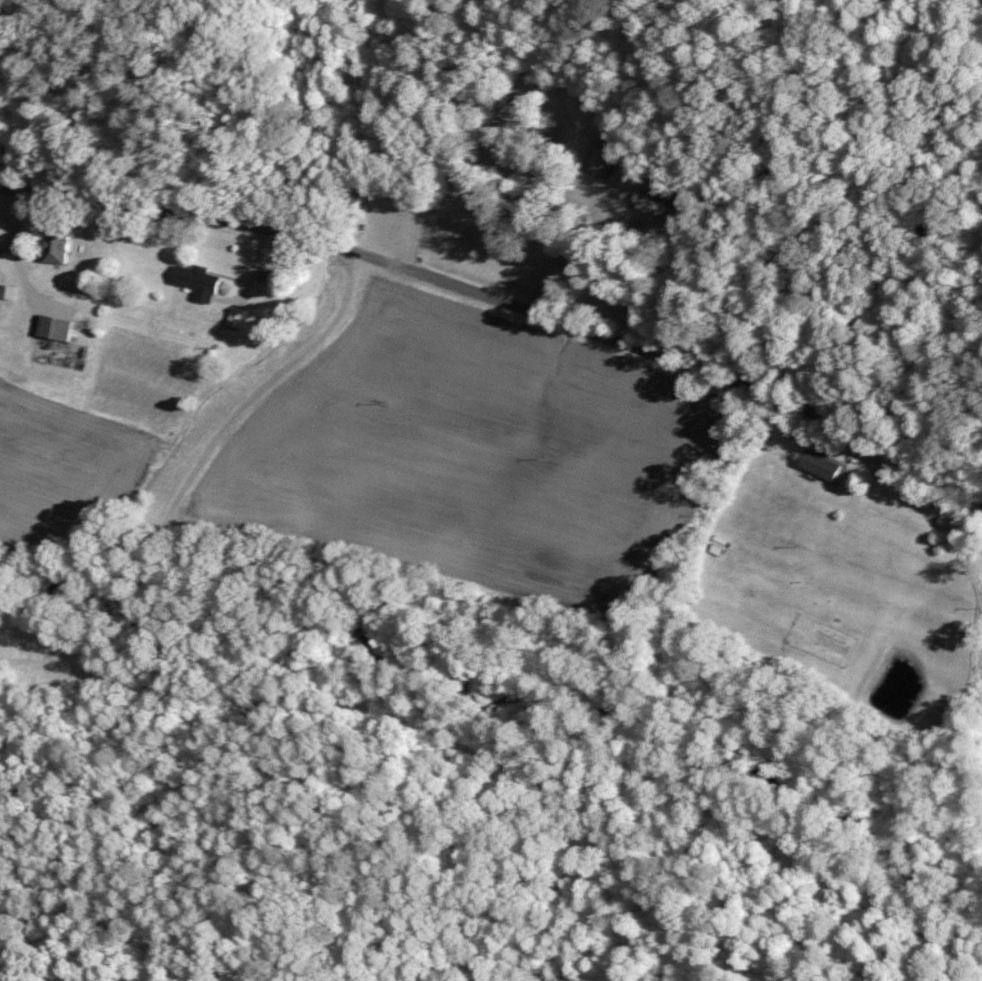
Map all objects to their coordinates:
building: (594, 160)
building: (654, 208)
building: (52, 244)
building: (194, 282)
building: (5, 296)
road: (504, 302)
building: (52, 327)
building: (817, 464)
building: (718, 542)

